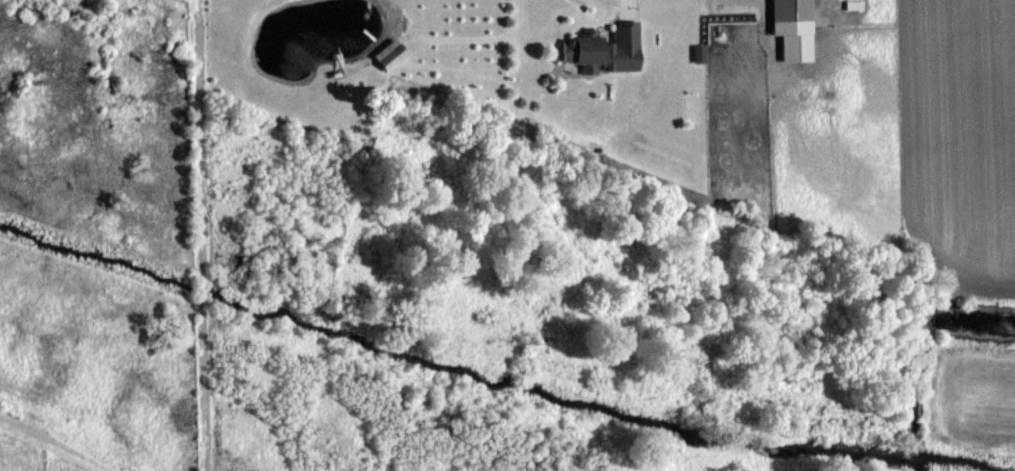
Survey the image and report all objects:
building: (785, 10)
building: (602, 50)

